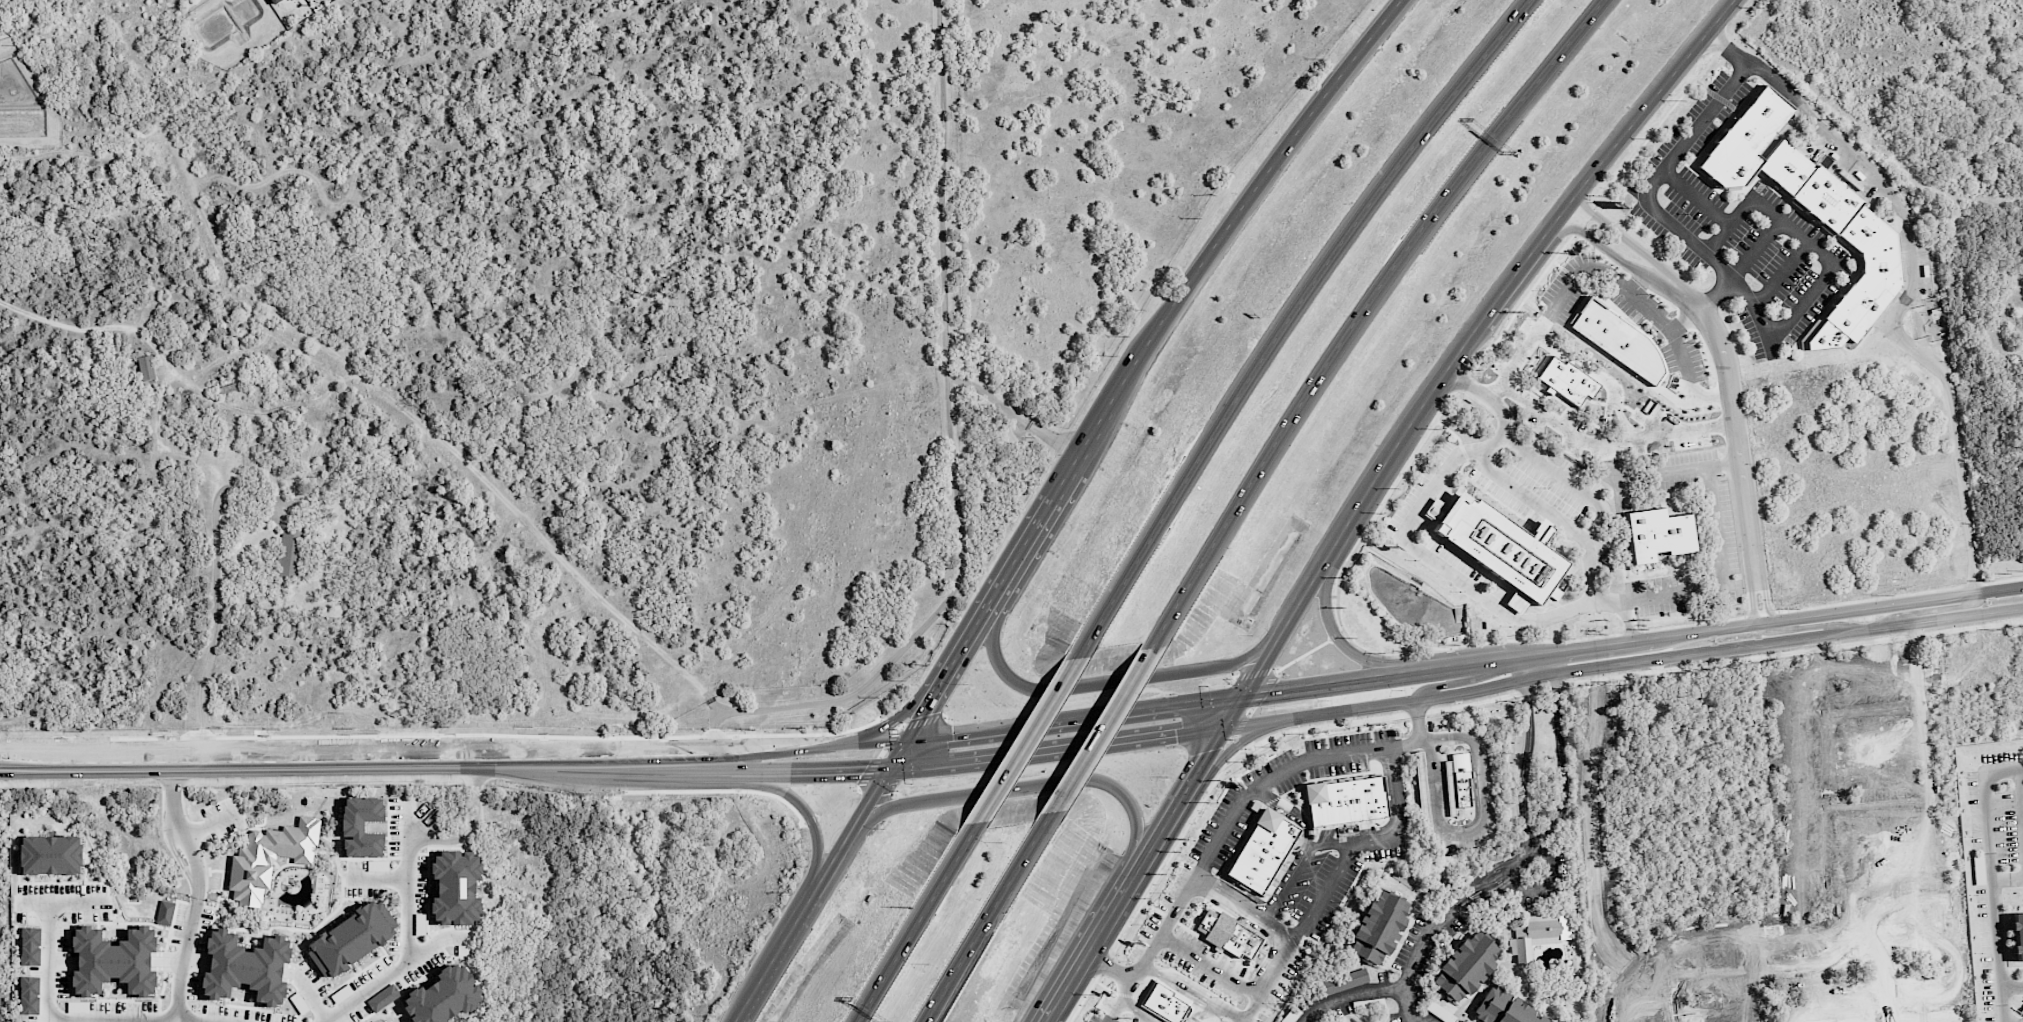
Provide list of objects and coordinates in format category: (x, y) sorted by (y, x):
building: (274, 1)
road: (1639, 116)
building: (1745, 139)
road: (1696, 198)
road: (1655, 211)
road: (1230, 219)
road: (1629, 241)
road: (1804, 241)
building: (1872, 242)
road: (1612, 255)
road: (1741, 267)
road: (1517, 272)
road: (1780, 274)
road: (1576, 283)
road: (1912, 283)
road: (1360, 313)
road: (1290, 316)
building: (1617, 339)
crop: (566, 342)
road: (1688, 361)
building: (146, 367)
road: (1439, 382)
road: (393, 402)
road: (1012, 412)
road: (1734, 428)
road: (1601, 440)
road: (950, 452)
road: (1662, 472)
road: (1067, 475)
road: (1568, 481)
road: (1047, 506)
road: (1554, 516)
road: (1339, 531)
building: (1658, 533)
road: (1404, 539)
building: (1502, 546)
road: (1018, 554)
building: (289, 555)
road: (1722, 575)
road: (1896, 594)
road: (1767, 598)
road: (1752, 600)
road: (1949, 608)
road: (1630, 621)
road: (1801, 628)
road: (971, 631)
road: (214, 633)
road: (1339, 641)
road: (1634, 641)
road: (1269, 653)
road: (1624, 663)
road: (1625, 674)
road: (1115, 681)
road: (1447, 685)
traffic signals: (1271, 692)
traffic signals: (925, 709)
road: (920, 716)
road: (1077, 717)
road: (890, 719)
road: (1419, 720)
road: (1099, 730)
traffic signals: (957, 733)
traffic signals: (1174, 733)
road: (1029, 737)
road: (1219, 738)
road: (1242, 741)
road: (734, 744)
road: (1060, 745)
traffic signals: (1213, 749)
road: (1526, 749)
road: (1559, 750)
road: (1337, 753)
road: (357, 762)
traffic signals: (857, 767)
road: (77, 768)
road: (726, 769)
building: (1461, 779)
building: (1421, 786)
road: (1017, 788)
road: (2021, 791)
road: (473, 800)
building: (1343, 800)
road: (1930, 802)
road: (799, 804)
road: (1291, 810)
road: (864, 811)
road: (385, 818)
parking lot: (223, 819)
road: (407, 820)
road: (209, 825)
building: (362, 826)
parking lot: (394, 826)
road: (387, 829)
road: (182, 832)
road: (1161, 833)
road: (341, 837)
road: (385, 837)
road: (434, 839)
road: (438, 847)
building: (1259, 851)
road: (173, 852)
road: (325, 852)
building: (51, 855)
road: (412, 855)
road: (403, 856)
building: (269, 857)
road: (393, 857)
road: (343, 858)
road: (287, 860)
road: (1300, 863)
road: (275, 864)
road: (287, 864)
parking lot: (356, 865)
building: (378, 865)
road: (279, 869)
road: (215, 870)
road: (1503, 872)
road: (378, 876)
road: (345, 877)
road: (1993, 877)
road: (823, 878)
road: (2008, 878)
road: (1540, 883)
parking lot: (420, 884)
road: (220, 886)
road: (342, 887)
building: (456, 887)
parking lot: (364, 891)
road: (227, 899)
road: (33, 902)
road: (194, 904)
road: (353, 908)
road: (1248, 909)
road: (427, 910)
road: (1317, 910)
road: (333, 912)
building: (165, 913)
road: (985, 917)
road: (171, 919)
parking lot: (206, 919)
road: (917, 922)
parking lot: (177, 923)
building: (420, 924)
road: (1105, 924)
building: (1376, 926)
road: (291, 927)
road: (255, 930)
road: (324, 930)
road: (233, 931)
building: (1538, 932)
road: (47, 933)
building: (1226, 933)
road: (267, 934)
building: (2018, 936)
building: (351, 938)
road: (437, 939)
road: (786, 939)
building: (30, 946)
parking lot: (394, 946)
building: (463, 950)
road: (1419, 951)
road: (408, 952)
road: (182, 959)
building: (114, 961)
road: (164, 961)
building: (1464, 964)
building: (246, 967)
road: (351, 968)
road: (431, 969)
parking lot: (419, 970)
road: (358, 973)
parking lot: (369, 974)
parking lot: (313, 977)
road: (2013, 986)
parking lot: (191, 987)
road: (161, 991)
building: (341, 993)
road: (1062, 993)
road: (1197, 993)
road: (307, 994)
building: (29, 995)
building: (443, 996)
road: (1350, 996)
building: (382, 998)
road: (1117, 998)
road: (749, 1001)
building: (1164, 1002)
building: (299, 1003)
parking lot: (121, 1007)
road: (337, 1007)
building: (1503, 1008)
road: (1136, 1009)
road: (1253, 1009)
parking lot: (356, 1013)
parking lot: (248, 1014)
road: (365, 1016)
road: (1417, 1017)
road: (130, 1018)
road: (1108, 1020)
road: (361, 1021)
building: (382, 1021)
building: (1356, 1021)

